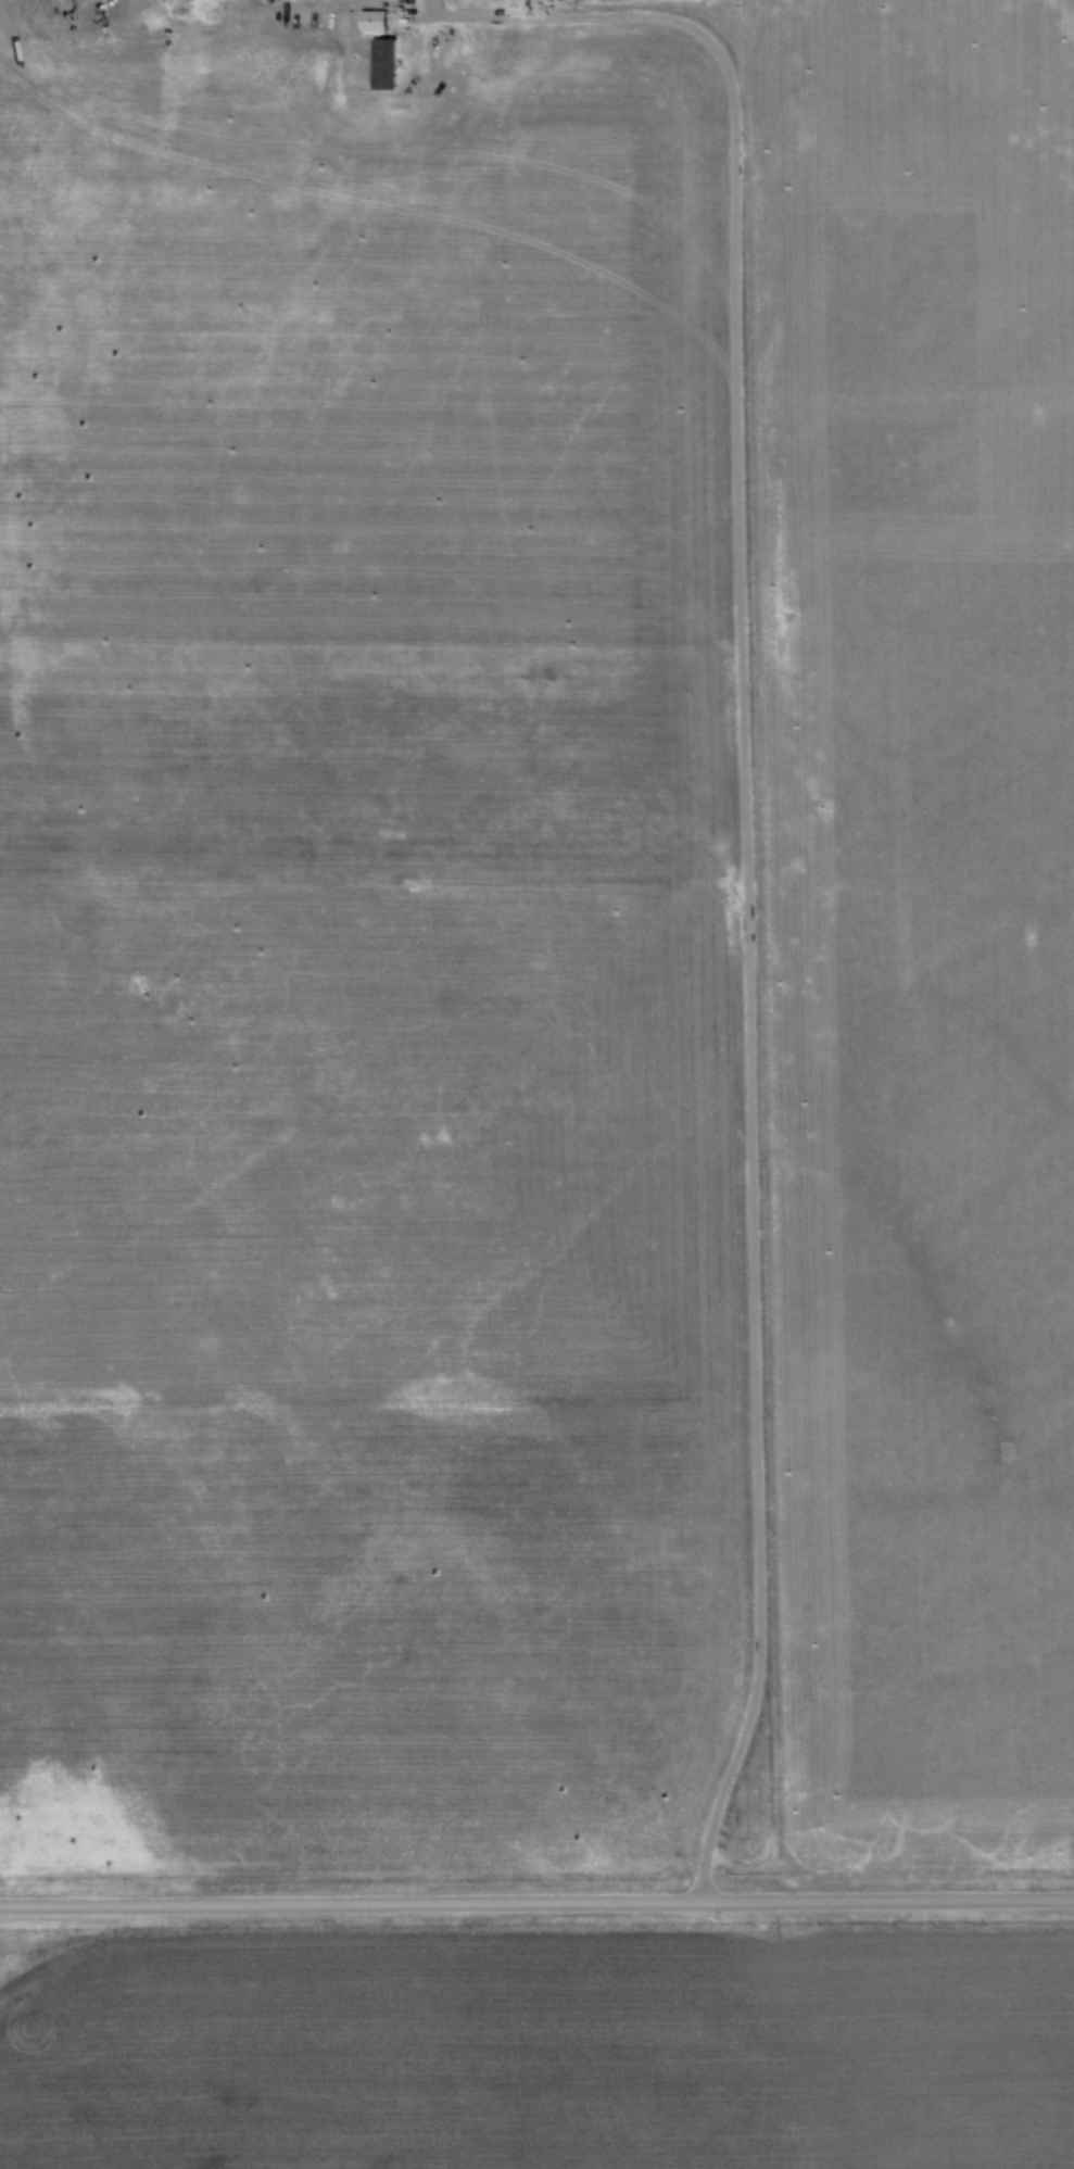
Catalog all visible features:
building: (369, 22)
building: (380, 64)
road: (733, 949)
road: (536, 1902)
crop: (541, 2056)

